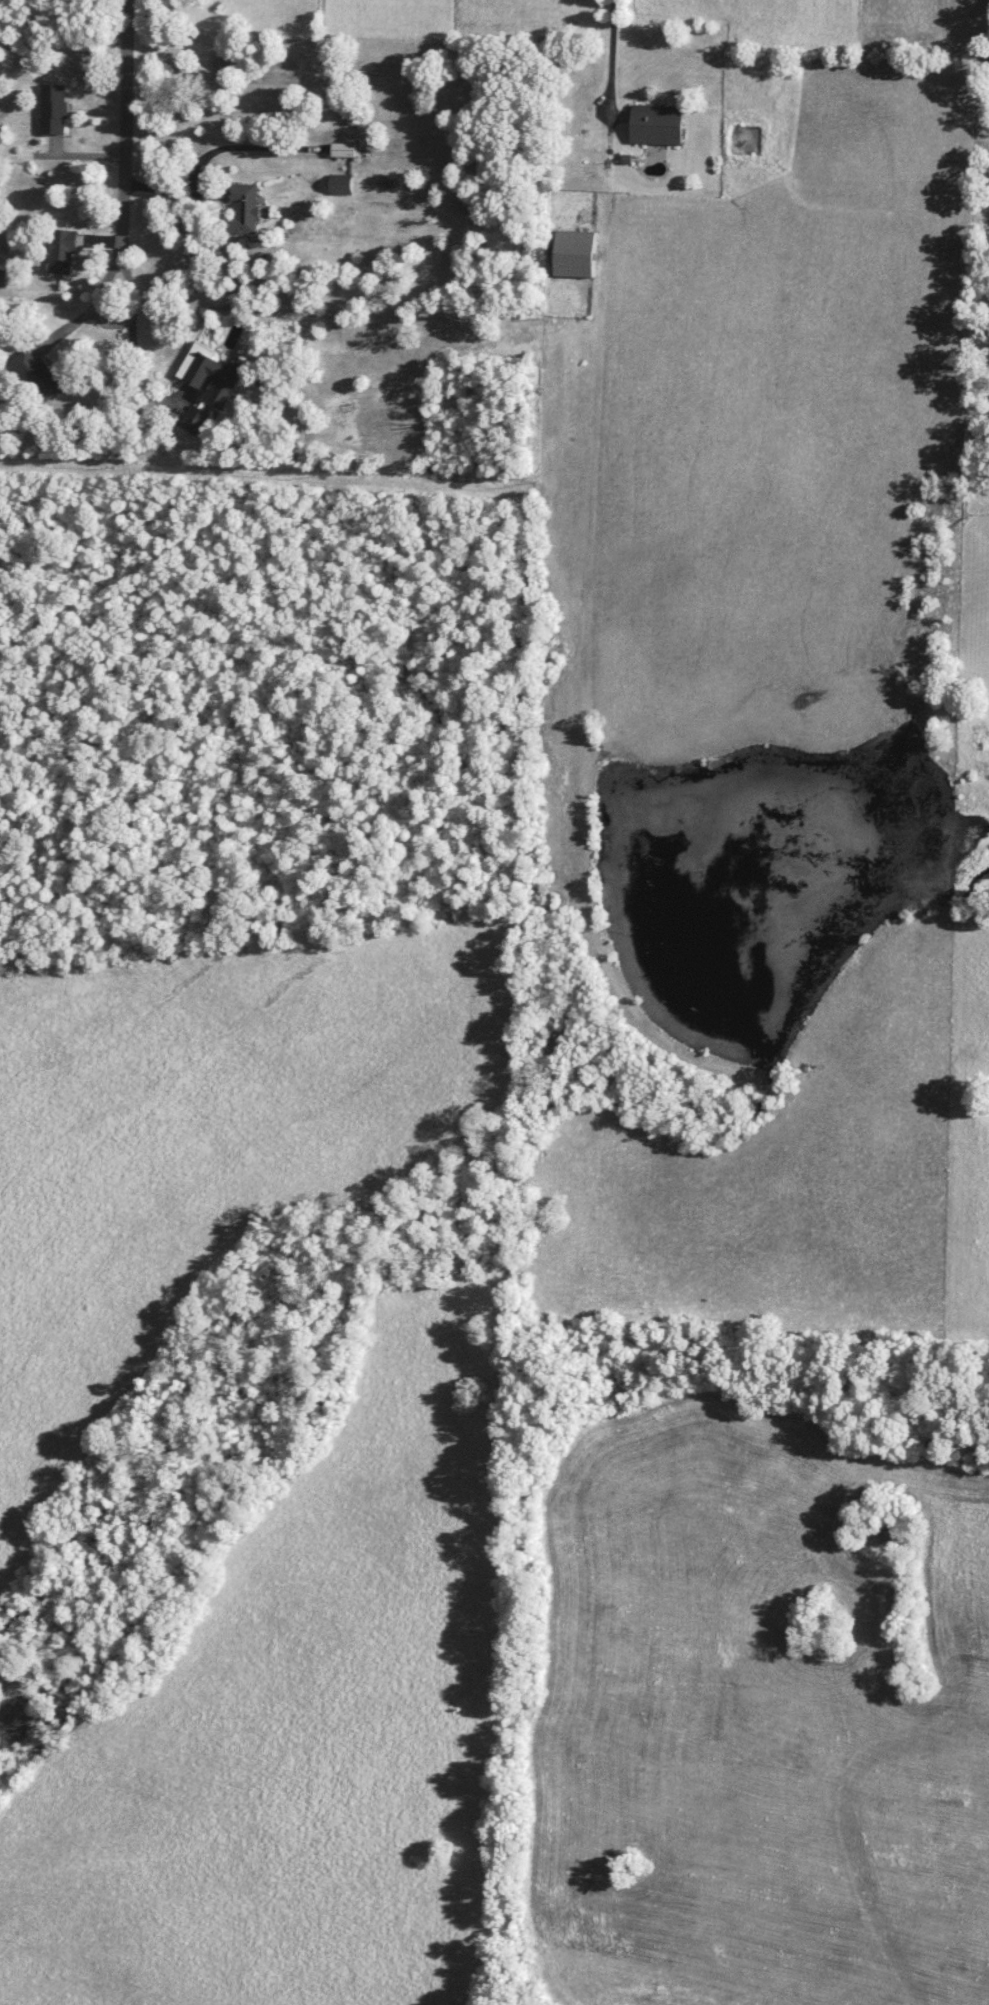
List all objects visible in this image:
road: (610, 53)
building: (55, 108)
road: (127, 123)
building: (660, 123)
building: (348, 148)
building: (344, 183)
road: (173, 190)
building: (248, 207)
building: (65, 249)
building: (578, 253)
building: (4, 276)
road: (105, 284)
building: (41, 373)
road: (136, 373)
building: (215, 377)

